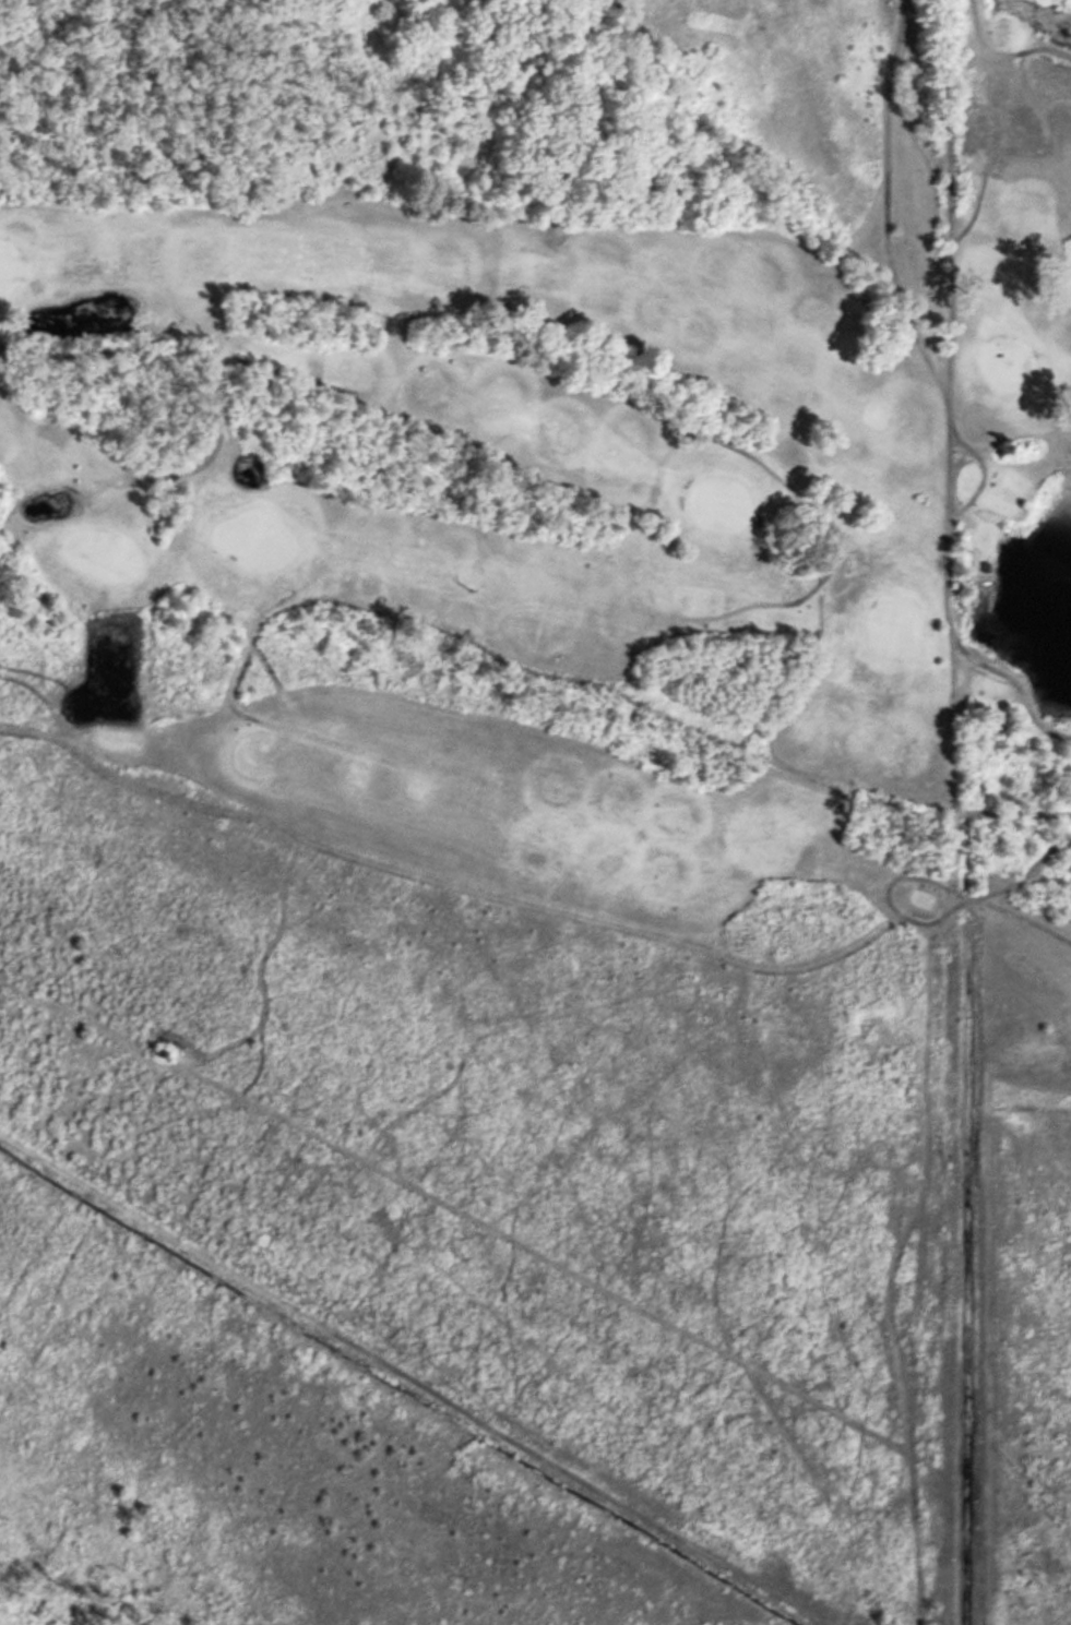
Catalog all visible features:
park: (588, 546)

